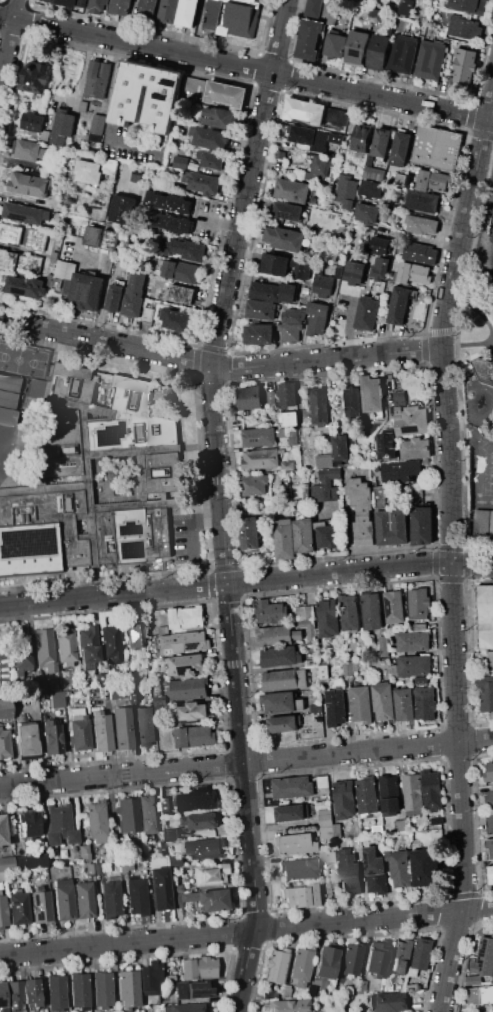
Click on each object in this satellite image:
building: (347, 0)
building: (62, 2)
building: (97, 6)
building: (469, 6)
building: (120, 7)
building: (391, 7)
building: (405, 7)
building: (313, 8)
building: (147, 10)
building: (168, 10)
building: (188, 12)
building: (373, 13)
building: (232, 17)
building: (332, 18)
building: (464, 27)
building: (309, 39)
road: (9, 44)
building: (334, 44)
building: (357, 47)
building: (378, 52)
building: (402, 54)
building: (430, 59)
building: (464, 65)
road: (246, 67)
building: (35, 76)
building: (96, 79)
building: (194, 84)
road: (146, 94)
building: (226, 94)
building: (162, 103)
building: (83, 106)
building: (304, 111)
building: (337, 115)
building: (219, 117)
building: (33, 121)
building: (63, 126)
building: (97, 127)
building: (192, 130)
building: (303, 134)
building: (211, 138)
building: (361, 138)
road: (133, 140)
building: (335, 141)
building: (382, 142)
building: (401, 146)
building: (437, 147)
building: (29, 150)
building: (188, 153)
building: (280, 153)
building: (211, 159)
building: (368, 161)
building: (181, 162)
building: (110, 165)
building: (321, 165)
building: (88, 171)
building: (374, 173)
building: (400, 178)
building: (423, 180)
building: (441, 181)
building: (201, 182)
road: (250, 182)
building: (30, 184)
building: (372, 188)
building: (293, 190)
building: (345, 191)
building: (422, 200)
building: (168, 202)
building: (123, 209)
building: (288, 210)
building: (25, 213)
building: (367, 213)
road: (217, 220)
building: (168, 222)
road: (465, 222)
building: (421, 224)
building: (11, 232)
building: (93, 235)
building: (35, 238)
building: (284, 238)
building: (110, 239)
building: (380, 243)
building: (67, 245)
building: (185, 248)
building: (419, 252)
building: (54, 256)
building: (8, 260)
building: (354, 261)
building: (30, 264)
building: (276, 264)
building: (381, 266)
building: (301, 268)
building: (65, 269)
building: (182, 270)
building: (352, 272)
building: (413, 274)
road: (105, 282)
building: (322, 283)
building: (27, 286)
building: (306, 290)
building: (86, 291)
building: (265, 291)
building: (289, 291)
building: (135, 294)
building: (178, 294)
building: (115, 297)
building: (346, 300)
building: (399, 305)
building: (318, 308)
building: (261, 310)
building: (367, 312)
building: (148, 315)
building: (292, 316)
building: (176, 319)
building: (316, 324)
building: (291, 332)
building: (260, 334)
road: (106, 341)
road: (327, 359)
building: (483, 370)
building: (9, 383)
building: (287, 394)
building: (250, 396)
building: (372, 396)
building: (271, 398)
building: (7, 399)
building: (353, 402)
building: (320, 406)
building: (7, 416)
building: (291, 418)
building: (411, 420)
building: (259, 437)
building: (293, 440)
building: (387, 445)
building: (416, 448)
building: (341, 450)
building: (261, 458)
building: (324, 461)
building: (288, 465)
building: (402, 471)
building: (333, 474)
building: (94, 480)
building: (254, 485)
building: (306, 493)
building: (325, 494)
building: (380, 497)
building: (362, 510)
road: (190, 520)
building: (423, 525)
building: (481, 525)
building: (392, 526)
building: (491, 526)
building: (250, 534)
building: (304, 536)
building: (329, 536)
building: (284, 539)
traffic signals: (454, 562)
road: (246, 583)
building: (418, 605)
building: (393, 608)
building: (270, 613)
building: (372, 613)
building: (349, 614)
building: (485, 616)
building: (187, 617)
building: (307, 620)
building: (328, 624)
building: (420, 626)
building: (164, 629)
building: (135, 635)
building: (277, 637)
building: (190, 641)
building: (412, 641)
building: (167, 642)
building: (111, 644)
building: (65, 647)
building: (384, 647)
building: (87, 648)
building: (43, 649)
building: (279, 657)
building: (490, 659)
building: (187, 665)
building: (414, 668)
building: (347, 670)
building: (130, 677)
building: (285, 679)
road: (458, 680)
building: (40, 686)
building: (189, 688)
building: (157, 689)
road: (238, 689)
building: (485, 693)
building: (83, 695)
building: (133, 697)
building: (56, 699)
building: (159, 699)
building: (278, 703)
building: (383, 703)
building: (300, 704)
building: (424, 704)
building: (359, 705)
building: (403, 705)
building: (5, 709)
building: (314, 710)
building: (335, 710)
building: (194, 711)
building: (282, 725)
building: (145, 726)
building: (121, 728)
building: (78, 731)
building: (100, 732)
building: (201, 735)
building: (50, 737)
building: (182, 737)
building: (25, 740)
building: (5, 744)
road: (246, 762)
building: (489, 772)
building: (323, 781)
building: (292, 787)
building: (431, 790)
building: (413, 794)
building: (366, 795)
building: (389, 795)
building: (197, 799)
building: (344, 800)
building: (490, 800)
building: (165, 804)
building: (159, 805)
building: (292, 812)
building: (127, 814)
building: (148, 814)
building: (185, 820)
building: (204, 821)
building: (96, 823)
building: (28, 824)
building: (325, 824)
building: (401, 824)
building: (490, 824)
building: (59, 826)
building: (377, 829)
building: (2, 830)
building: (337, 830)
building: (171, 835)
building: (297, 843)
building: (354, 843)
building: (490, 847)
building: (161, 848)
building: (205, 848)
building: (83, 849)
building: (328, 855)
building: (83, 858)
building: (174, 861)
building: (28, 862)
building: (6, 864)
building: (125, 867)
building: (400, 867)
building: (89, 868)
building: (425, 868)
building: (298, 869)
building: (376, 871)
building: (208, 874)
building: (490, 875)
building: (1, 876)
building: (350, 877)
building: (159, 888)
building: (175, 888)
building: (136, 896)
building: (300, 896)
building: (187, 897)
building: (83, 899)
building: (110, 899)
building: (211, 899)
building: (62, 900)
building: (176, 900)
building: (40, 905)
building: (17, 907)
building: (2, 914)
road: (246, 933)
building: (423, 954)
building: (401, 957)
building: (484, 957)
building: (350, 959)
building: (376, 959)
building: (325, 961)
building: (275, 966)
building: (300, 966)
building: (197, 968)
building: (149, 978)
building: (474, 979)
building: (360, 987)
building: (390, 988)
building: (102, 990)
building: (127, 990)
building: (193, 990)
building: (78, 991)
building: (286, 991)
building: (312, 991)
building: (31, 992)
building: (55, 993)
building: (487, 993)
building: (472, 995)
building: (13, 996)
building: (2, 998)
building: (388, 1002)
building: (287, 1005)
building: (182, 1008)

